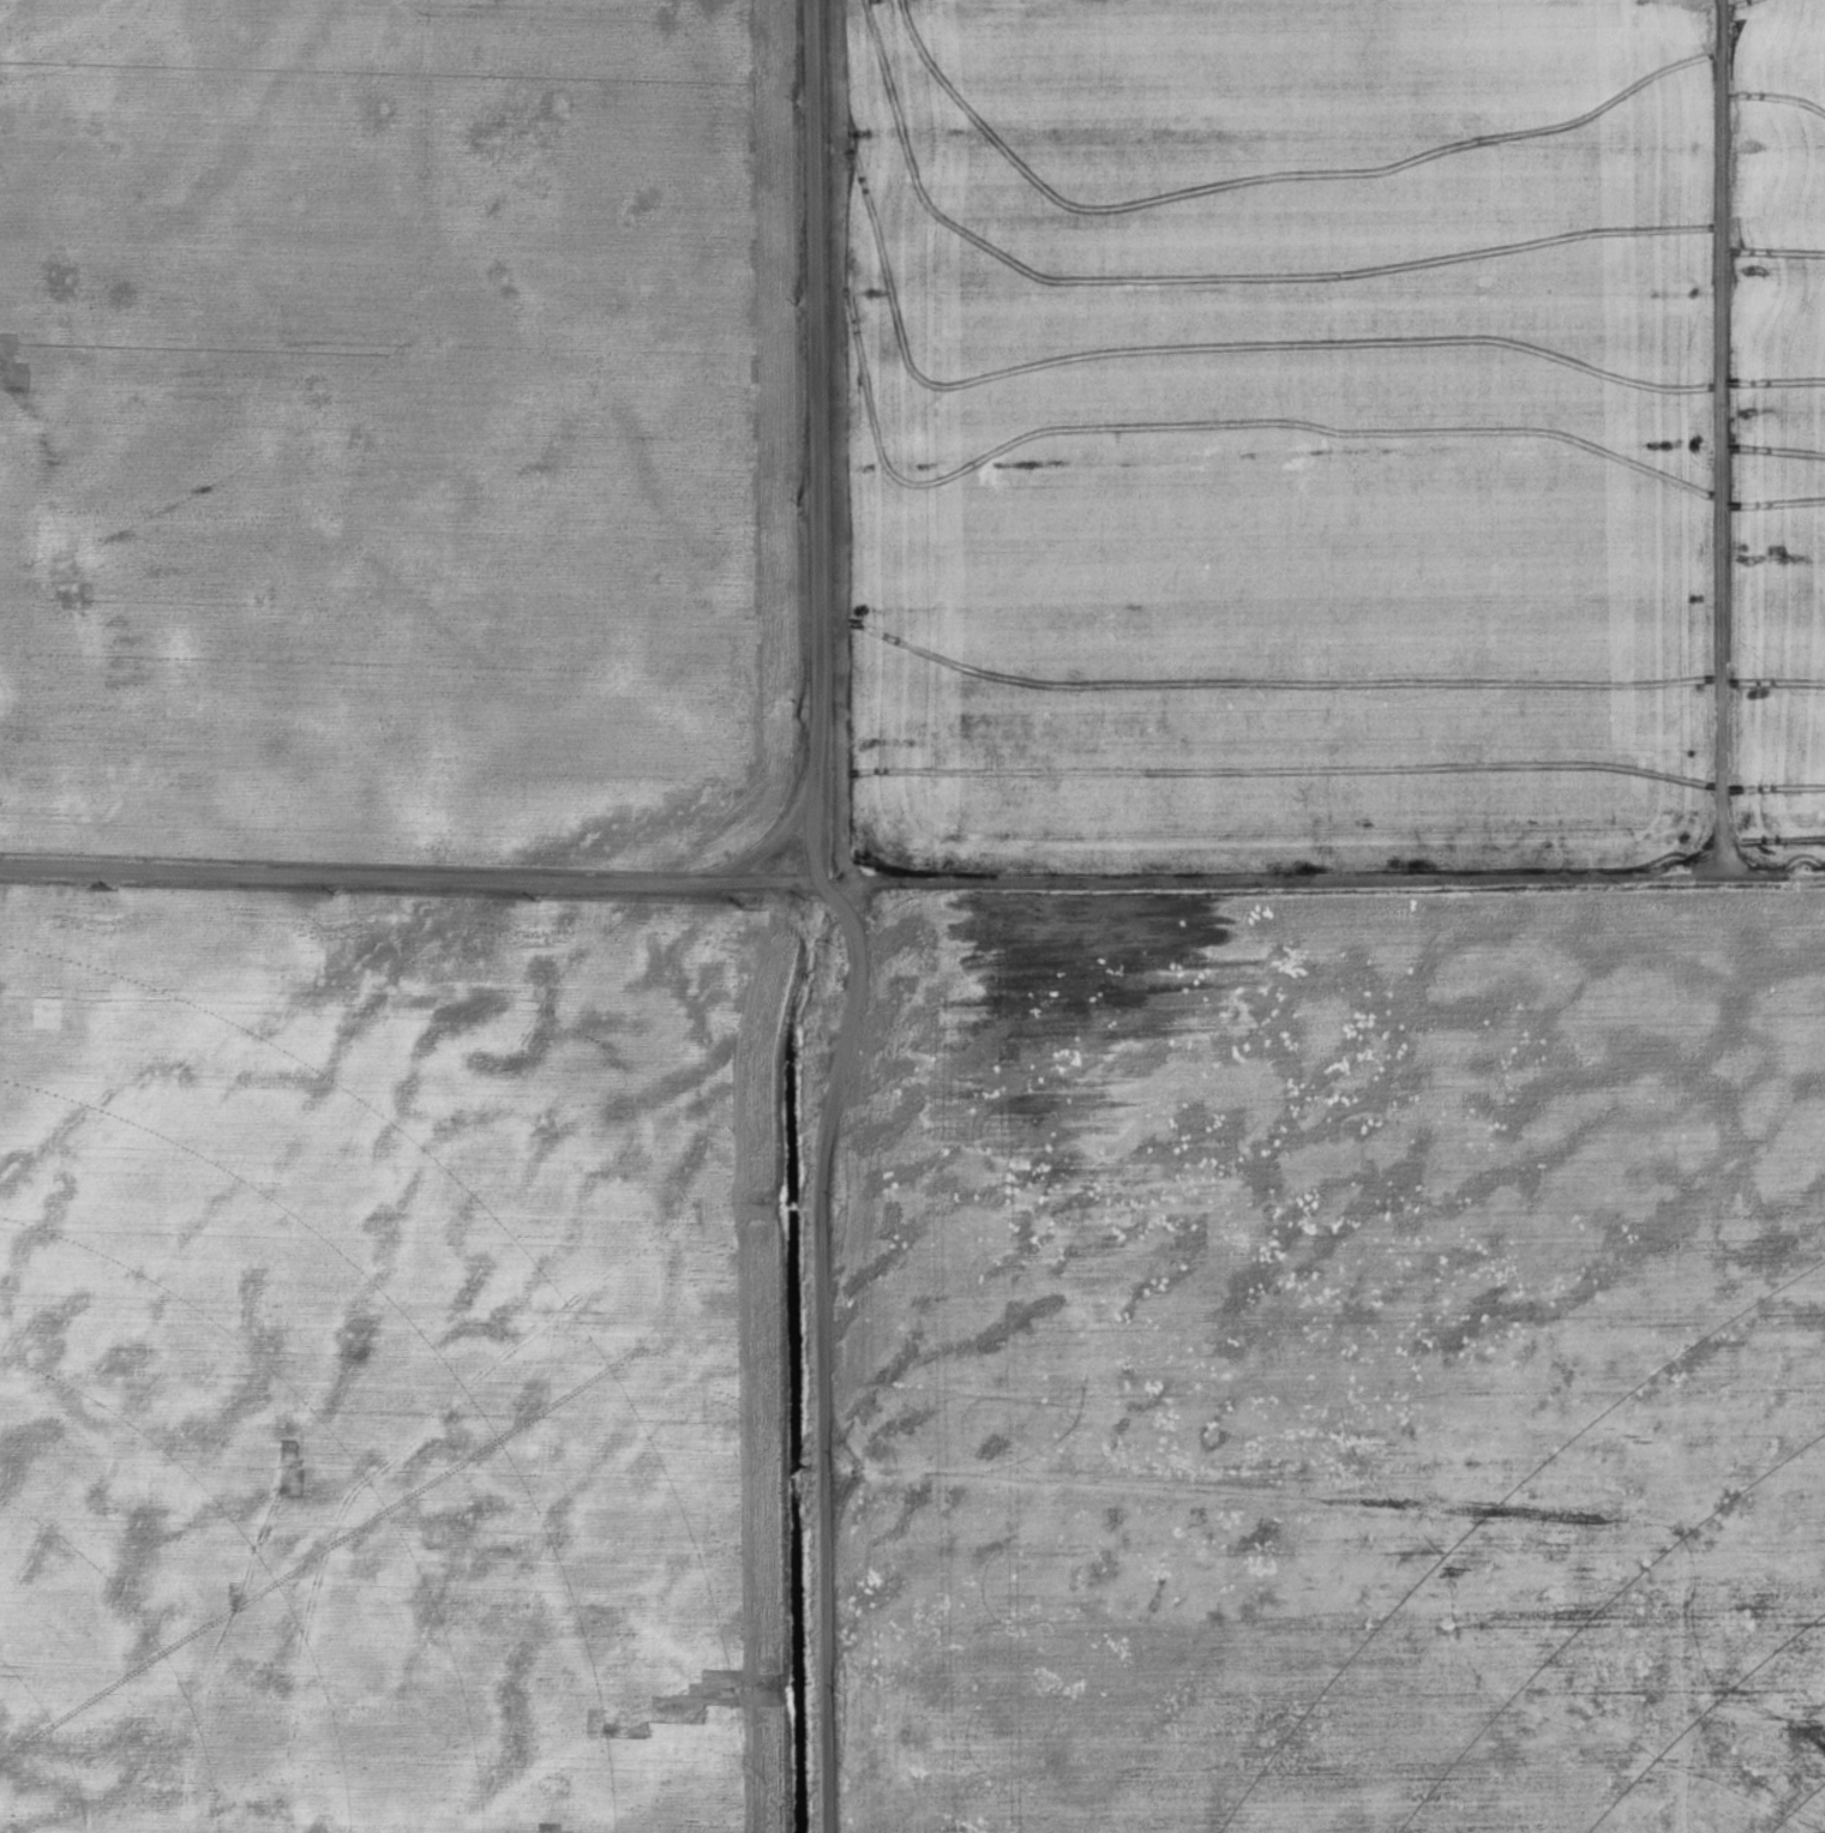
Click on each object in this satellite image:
road: (820, 500)
road: (410, 903)
road: (1329, 1008)
road: (836, 1416)

